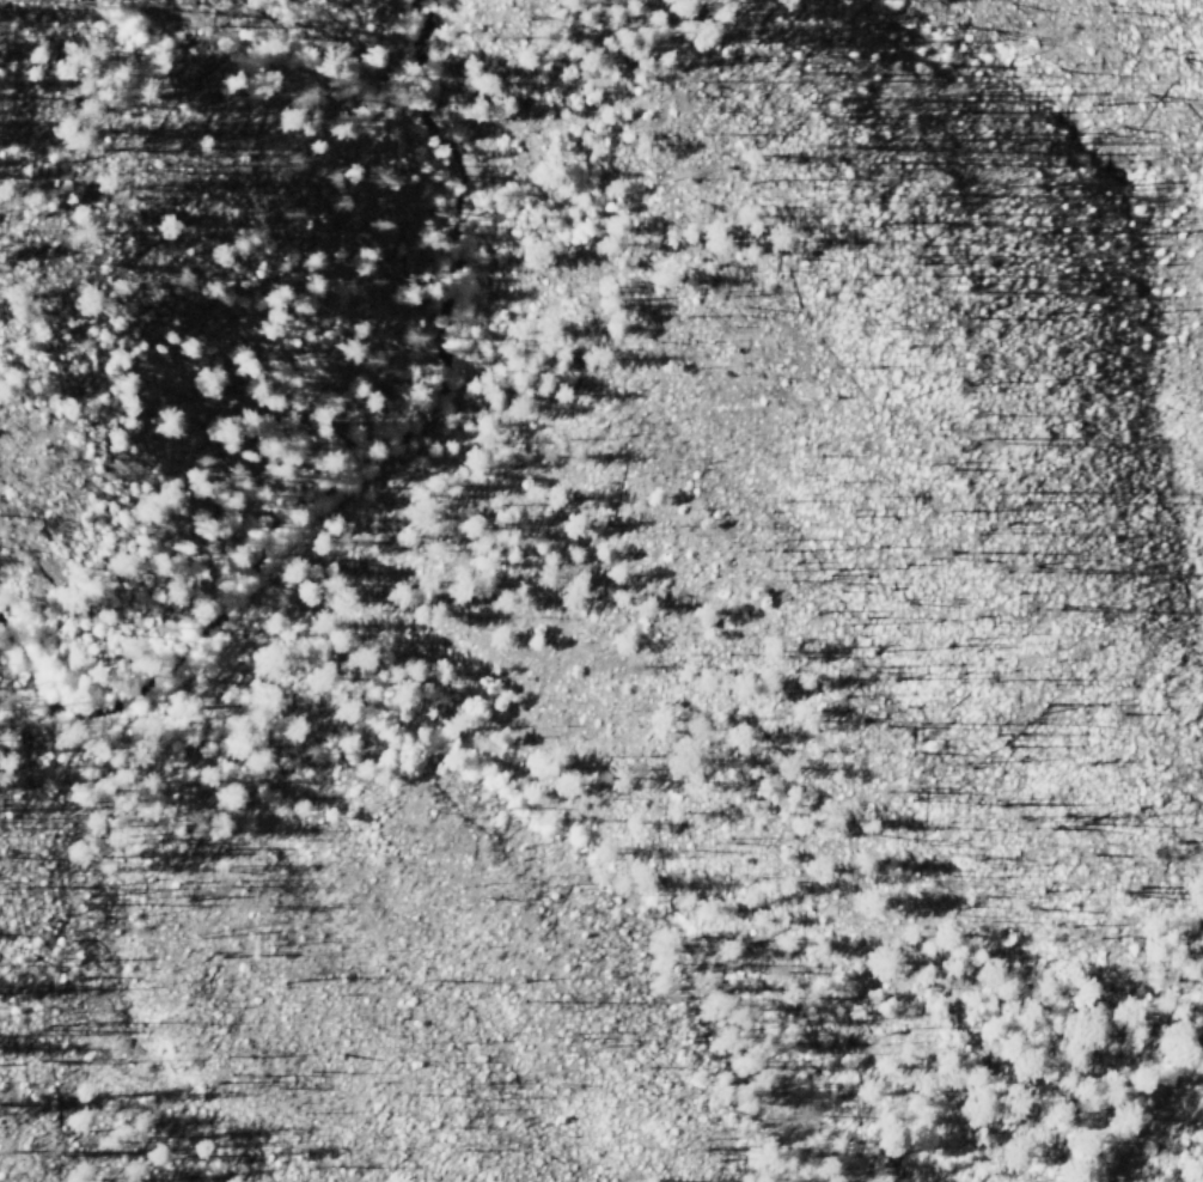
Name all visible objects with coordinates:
road: (1143, 1096)

